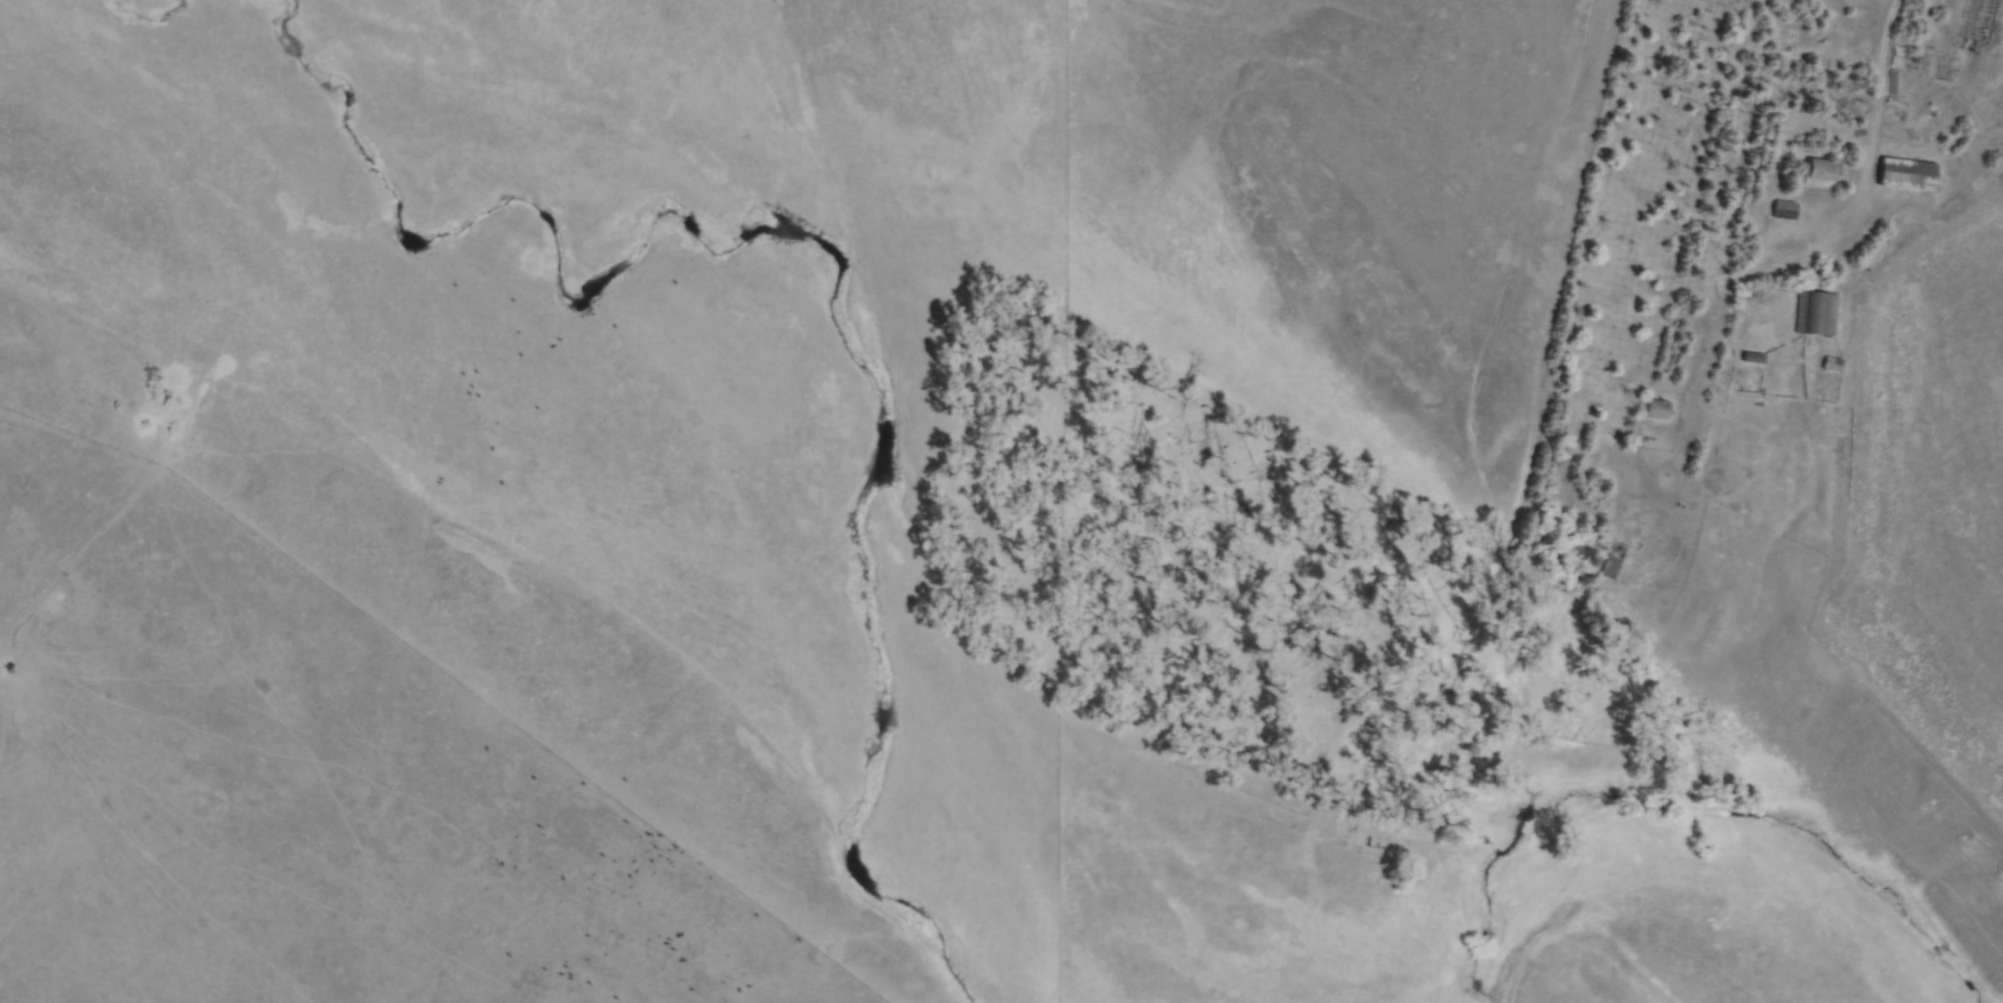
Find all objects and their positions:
building: (1897, 54)
road: (1876, 89)
building: (1818, 170)
building: (1905, 174)
building: (1782, 209)
building: (1815, 313)
building: (1750, 357)
building: (1654, 408)
building: (1610, 560)

